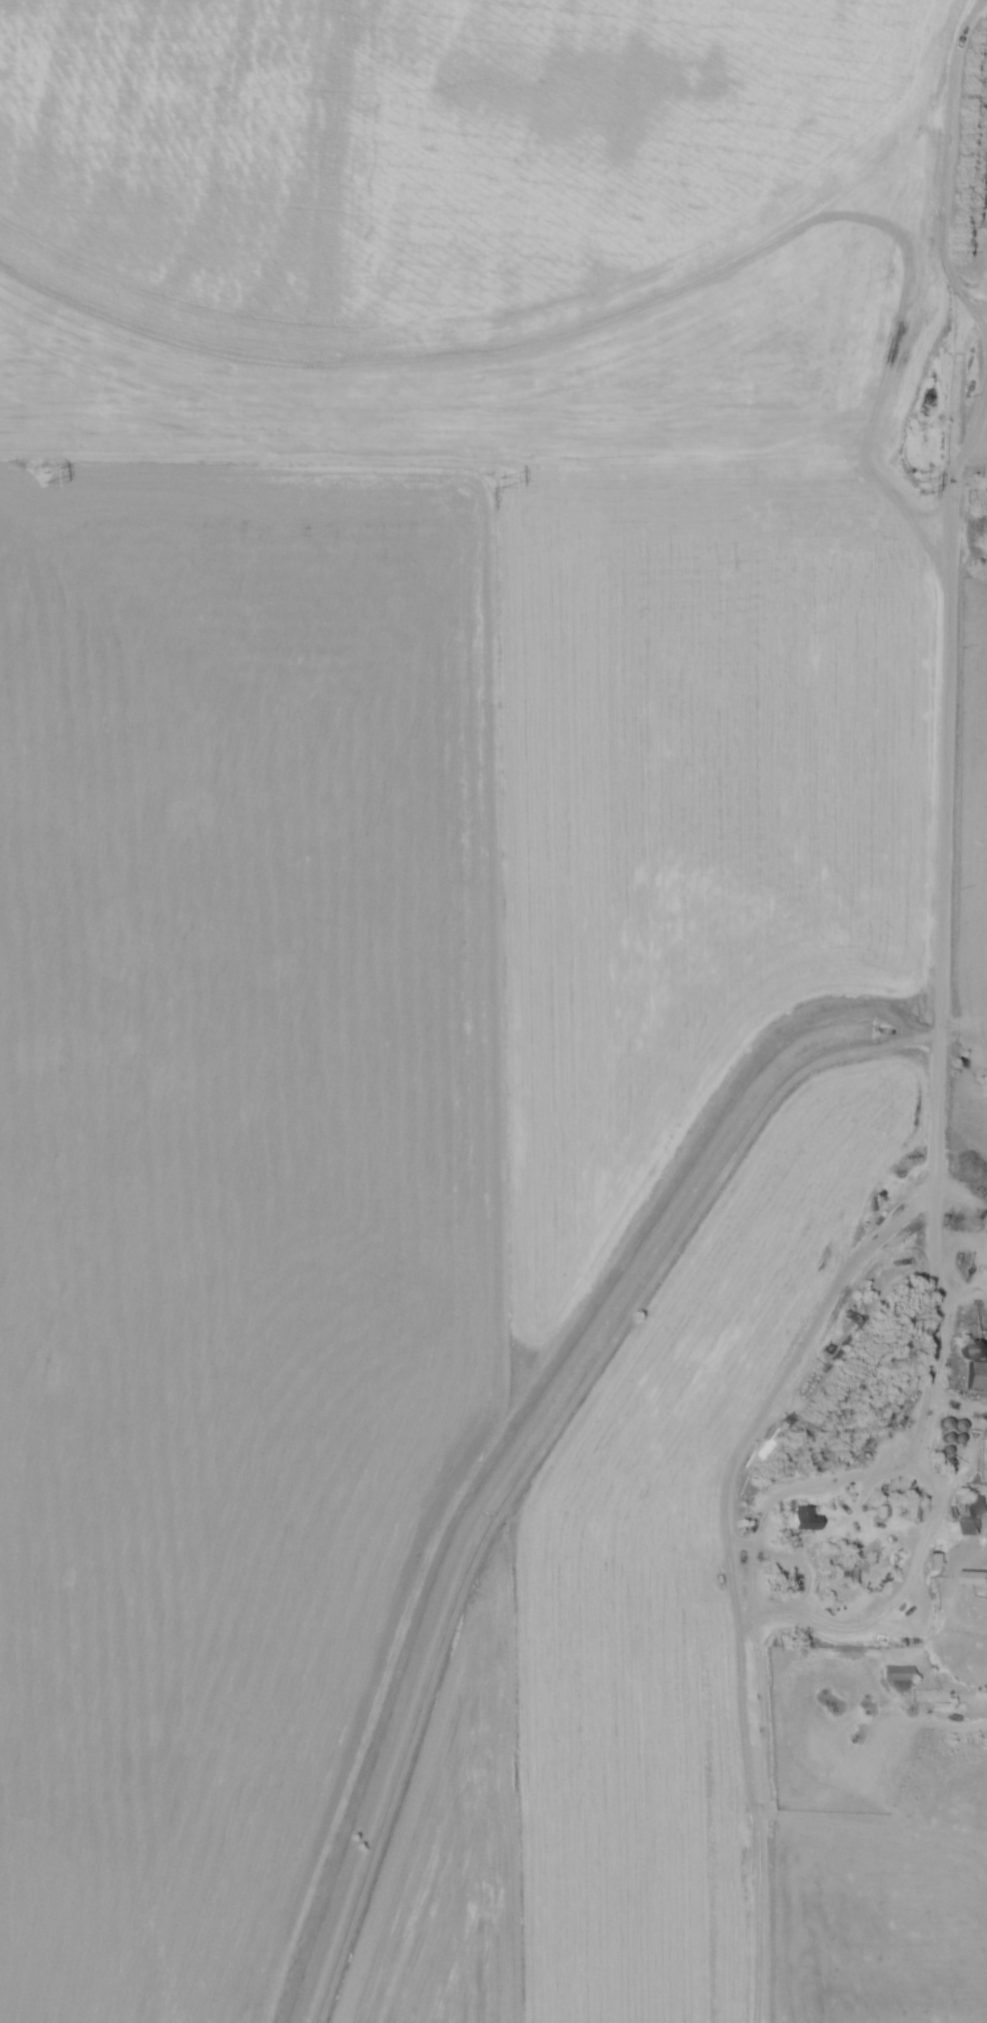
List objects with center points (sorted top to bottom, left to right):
road: (977, 293)
road: (975, 311)
power tower: (44, 477)
power tower: (500, 484)
power tower: (918, 488)
road: (940, 1067)
building: (976, 1367)
building: (974, 1516)
building: (805, 1519)
building: (939, 1564)
building: (844, 1574)
building: (975, 1578)
road: (878, 1623)
building: (900, 1673)

